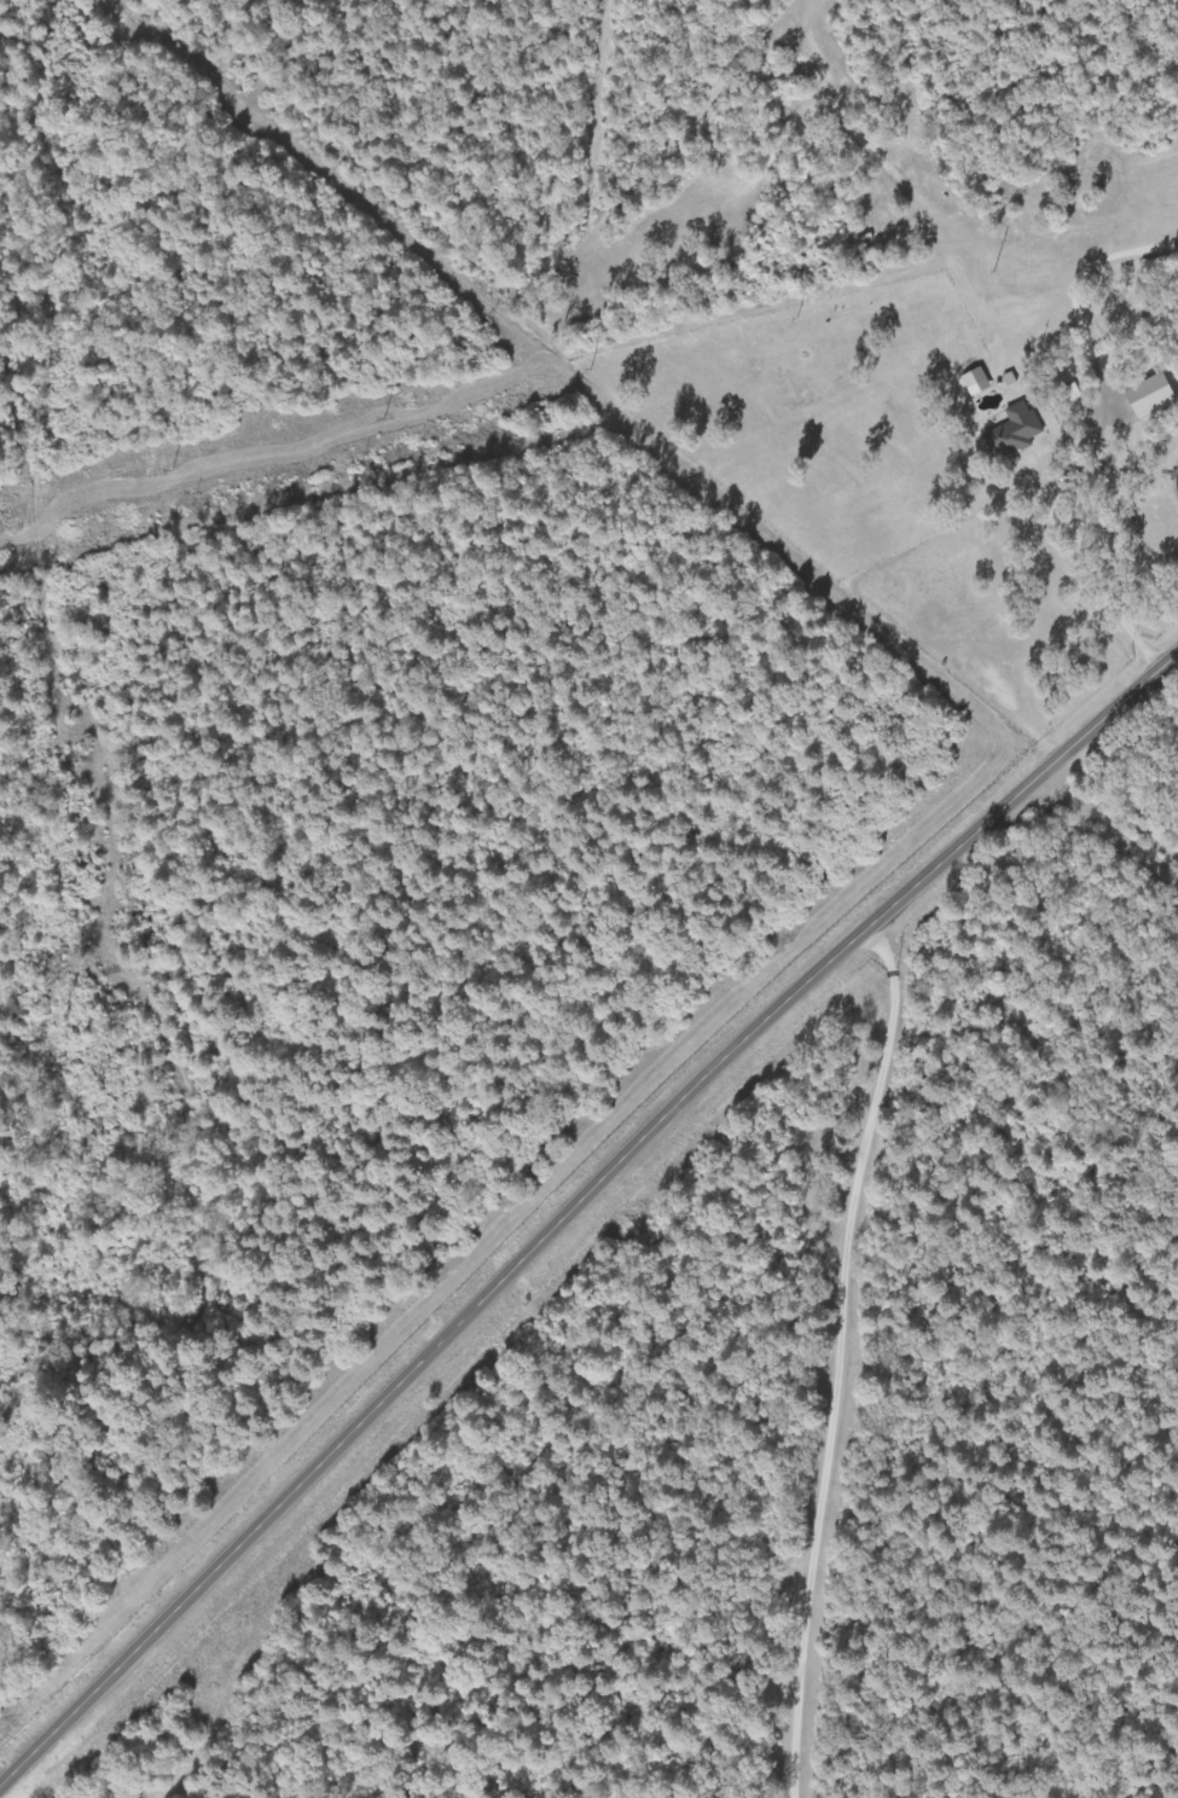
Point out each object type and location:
building: (977, 382)
building: (1154, 395)
building: (1020, 433)
road: (575, 1203)
road: (848, 1356)

